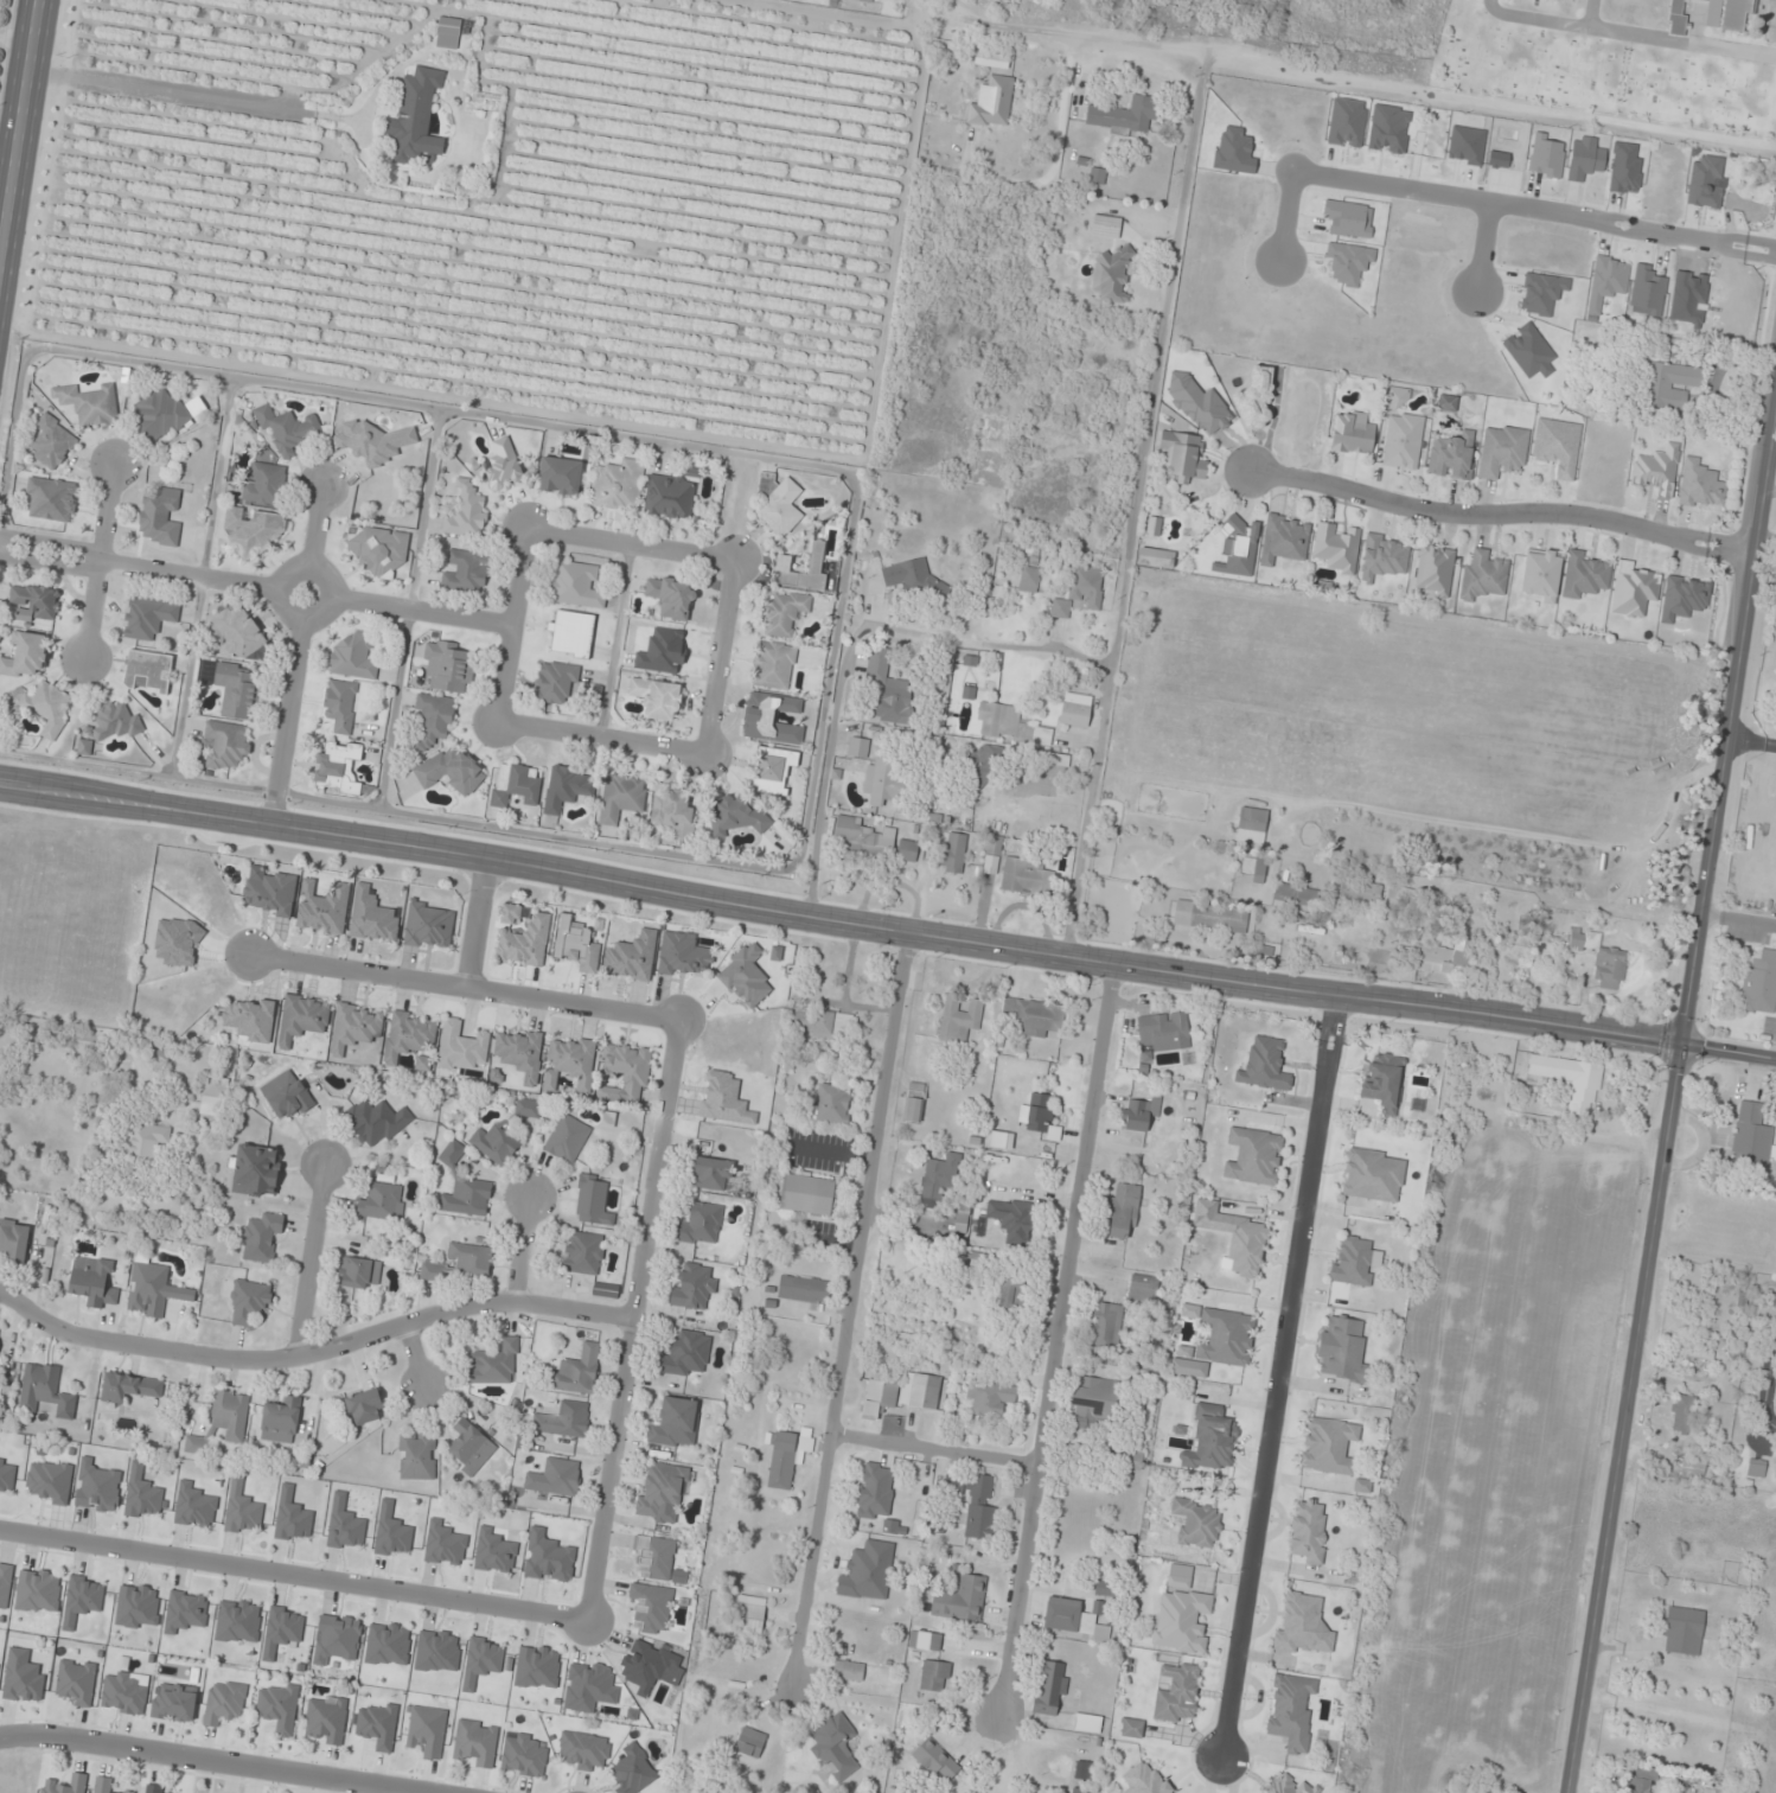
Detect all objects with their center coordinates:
building: (1726, 14)
building: (1678, 18)
building: (448, 33)
park: (1621, 58)
road: (1260, 59)
road: (17, 103)
building: (992, 103)
building: (1124, 116)
building: (415, 117)
building: (1634, 164)
building: (1661, 168)
road: (1534, 211)
building: (1701, 213)
road: (1286, 217)
building: (1105, 226)
road: (1482, 248)
building: (1112, 275)
building: (1668, 385)
building: (1446, 403)
building: (90, 404)
building: (158, 415)
building: (994, 423)
building: (287, 429)
building: (1401, 433)
building: (1352, 434)
building: (373, 442)
building: (52, 444)
building: (990, 446)
building: (1557, 447)
building: (1502, 451)
building: (1183, 455)
building: (1452, 457)
building: (503, 465)
building: (1657, 471)
building: (560, 476)
building: (263, 484)
building: (618, 486)
building: (670, 497)
building: (52, 498)
road: (1135, 502)
building: (778, 505)
building: (467, 511)
road: (1499, 515)
building: (160, 517)
road: (315, 525)
building: (1152, 527)
road: (530, 529)
building: (253, 531)
building: (1284, 538)
road: (52, 542)
building: (1238, 548)
building: (1336, 548)
building: (377, 550)
building: (1156, 557)
building: (1384, 557)
road: (101, 560)
road: (51, 562)
building: (816, 563)
building: (1433, 570)
building: (466, 572)
building: (906, 575)
building: (1540, 575)
building: (1584, 575)
road: (189, 576)
building: (1483, 576)
building: (1029, 579)
building: (576, 585)
building: (1078, 592)
road: (277, 593)
building: (671, 598)
building: (36, 602)
road: (421, 611)
building: (782, 613)
building: (148, 617)
building: (238, 632)
building: (571, 634)
road: (614, 637)
building: (25, 656)
building: (353, 657)
road: (718, 657)
building: (773, 665)
building: (449, 666)
building: (148, 672)
building: (556, 683)
building: (234, 688)
building: (888, 689)
building: (656, 698)
building: (340, 706)
building: (47, 707)
building: (1075, 710)
road: (287, 715)
building: (771, 719)
building: (433, 720)
road: (499, 722)
building: (1010, 725)
building: (109, 726)
road: (1750, 741)
building: (224, 745)
building: (857, 747)
building: (1047, 758)
building: (980, 764)
building: (337, 768)
building: (452, 770)
building: (773, 771)
building: (882, 784)
building: (512, 785)
building: (567, 789)
building: (621, 798)
building: (673, 811)
building: (735, 813)
road: (269, 817)
building: (1251, 825)
building: (864, 838)
building: (994, 844)
building: (907, 851)
building: (953, 853)
building: (1260, 870)
building: (1026, 875)
building: (1357, 893)
building: (1295, 894)
building: (1401, 895)
building: (322, 907)
building: (510, 914)
building: (1210, 917)
building: (372, 918)
road: (839, 919)
road: (474, 921)
building: (1302, 934)
building: (524, 942)
building: (575, 945)
building: (632, 957)
building: (1442, 957)
building: (1602, 961)
building: (1759, 984)
building: (1033, 1016)
building: (302, 1017)
building: (959, 1017)
building: (823, 1023)
building: (356, 1026)
building: (1164, 1031)
building: (409, 1035)
traffic signals: (1681, 1045)
building: (461, 1046)
road: (1729, 1052)
building: (519, 1053)
building: (420, 1063)
building: (569, 1063)
building: (1265, 1065)
building: (628, 1070)
building: (1571, 1080)
building: (1384, 1081)
road: (1673, 1090)
building: (603, 1093)
building: (287, 1095)
building: (213, 1096)
building: (723, 1098)
building: (832, 1103)
building: (914, 1103)
road: (664, 1104)
building: (528, 1108)
building: (1040, 1112)
building: (1142, 1112)
building: (375, 1121)
building: (1751, 1134)
building: (567, 1138)
building: (147, 1141)
building: (494, 1143)
building: (452, 1154)
building: (1253, 1156)
building: (256, 1170)
building: (710, 1174)
building: (1373, 1174)
building: (806, 1194)
building: (467, 1198)
building: (593, 1200)
building: (382, 1201)
building: (1123, 1211)
building: (1011, 1219)
building: (962, 1220)
building: (701, 1224)
building: (262, 1238)
building: (14, 1240)
building: (1247, 1245)
road: (523, 1250)
building: (583, 1253)
road: (307, 1259)
building: (469, 1259)
building: (1353, 1261)
building: (433, 1270)
building: (359, 1274)
building: (94, 1281)
building: (692, 1287)
building: (152, 1288)
building: (1142, 1288)
building: (804, 1290)
building: (1012, 1290)
building: (249, 1302)
road: (849, 1307)
building: (1105, 1326)
building: (1226, 1338)
road: (1053, 1339)
road: (1769, 1348)
road: (312, 1351)
building: (1342, 1351)
building: (685, 1353)
road: (413, 1355)
building: (1694, 1357)
building: (494, 1364)
building: (577, 1371)
road: (1277, 1373)
building: (128, 1387)
building: (45, 1391)
building: (920, 1391)
road: (1763, 1392)
building: (879, 1395)
building: (991, 1399)
building: (1094, 1402)
building: (365, 1406)
building: (1682, 1414)
building: (224, 1419)
building: (564, 1419)
building: (280, 1422)
building: (676, 1423)
building: (1212, 1438)
building: (1328, 1446)
building: (471, 1448)
road: (931, 1450)
building: (417, 1456)
building: (787, 1456)
building: (1131, 1460)
building: (1693, 1463)
building: (1756, 1468)
building: (555, 1478)
building: (50, 1481)
building: (96, 1487)
building: (662, 1491)
building: (875, 1491)
building: (972, 1501)
building: (1196, 1523)
building: (1308, 1530)
building: (392, 1533)
building: (654, 1558)
building: (868, 1571)
road: (294, 1575)
building: (6, 1584)
building: (1103, 1588)
building: (39, 1590)
building: (962, 1600)
building: (651, 1607)
building: (1181, 1616)
building: (749, 1617)
building: (1073, 1619)
building: (1303, 1626)
building: (1684, 1631)
building: (336, 1638)
building: (925, 1640)
building: (481, 1659)
building: (848, 1670)
building: (935, 1676)
building: (23, 1677)
building: (76, 1682)
building: (1050, 1687)
building: (1177, 1692)
building: (123, 1693)
building: (224, 1701)
building: (174, 1703)
building: (277, 1705)
building: (1290, 1711)
building: (326, 1718)
building: (1087, 1723)
building: (378, 1725)
building: (1131, 1728)
building: (426, 1730)
building: (750, 1742)
building: (474, 1743)
building: (835, 1744)
building: (583, 1750)
building: (523, 1755)
building: (935, 1760)
road: (213, 1761)
building: (633, 1770)
building: (1082, 1770)
building: (1145, 1779)
building: (64, 1785)
building: (104, 1785)
building: (1638, 1785)
building: (1290, 1786)
building: (156, 1789)
building: (1080, 1791)

